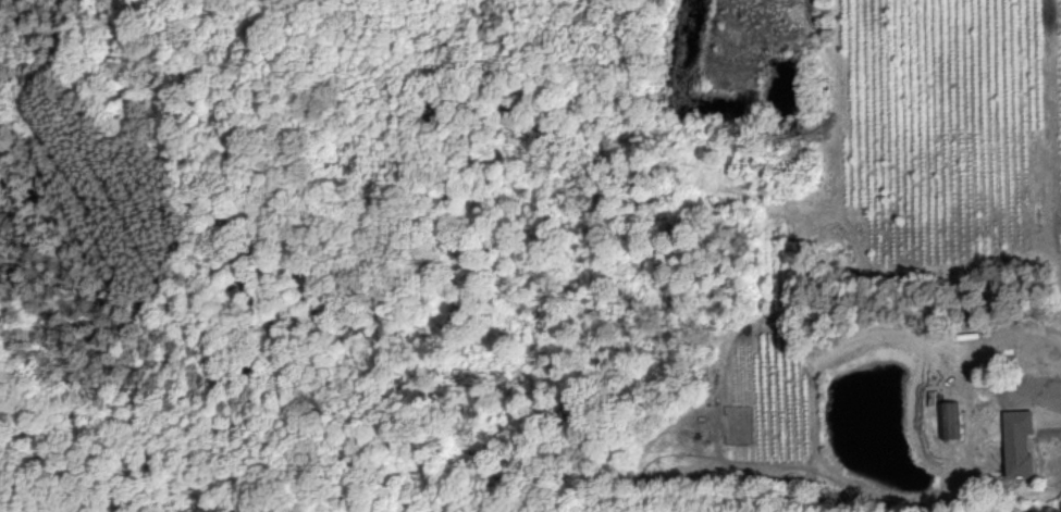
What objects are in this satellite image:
road: (957, 365)
building: (948, 420)
building: (1017, 444)

